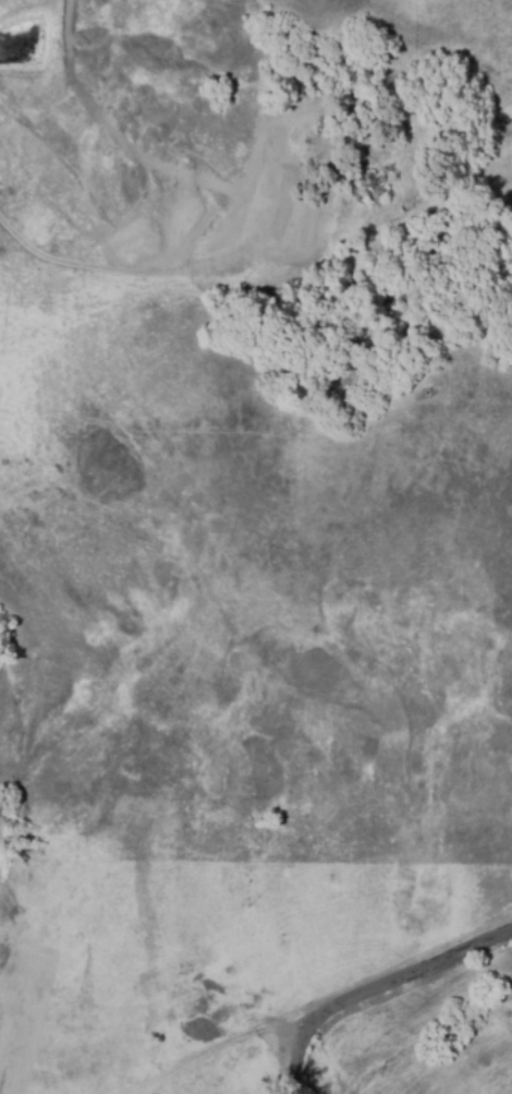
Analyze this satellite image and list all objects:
road: (376, 986)

